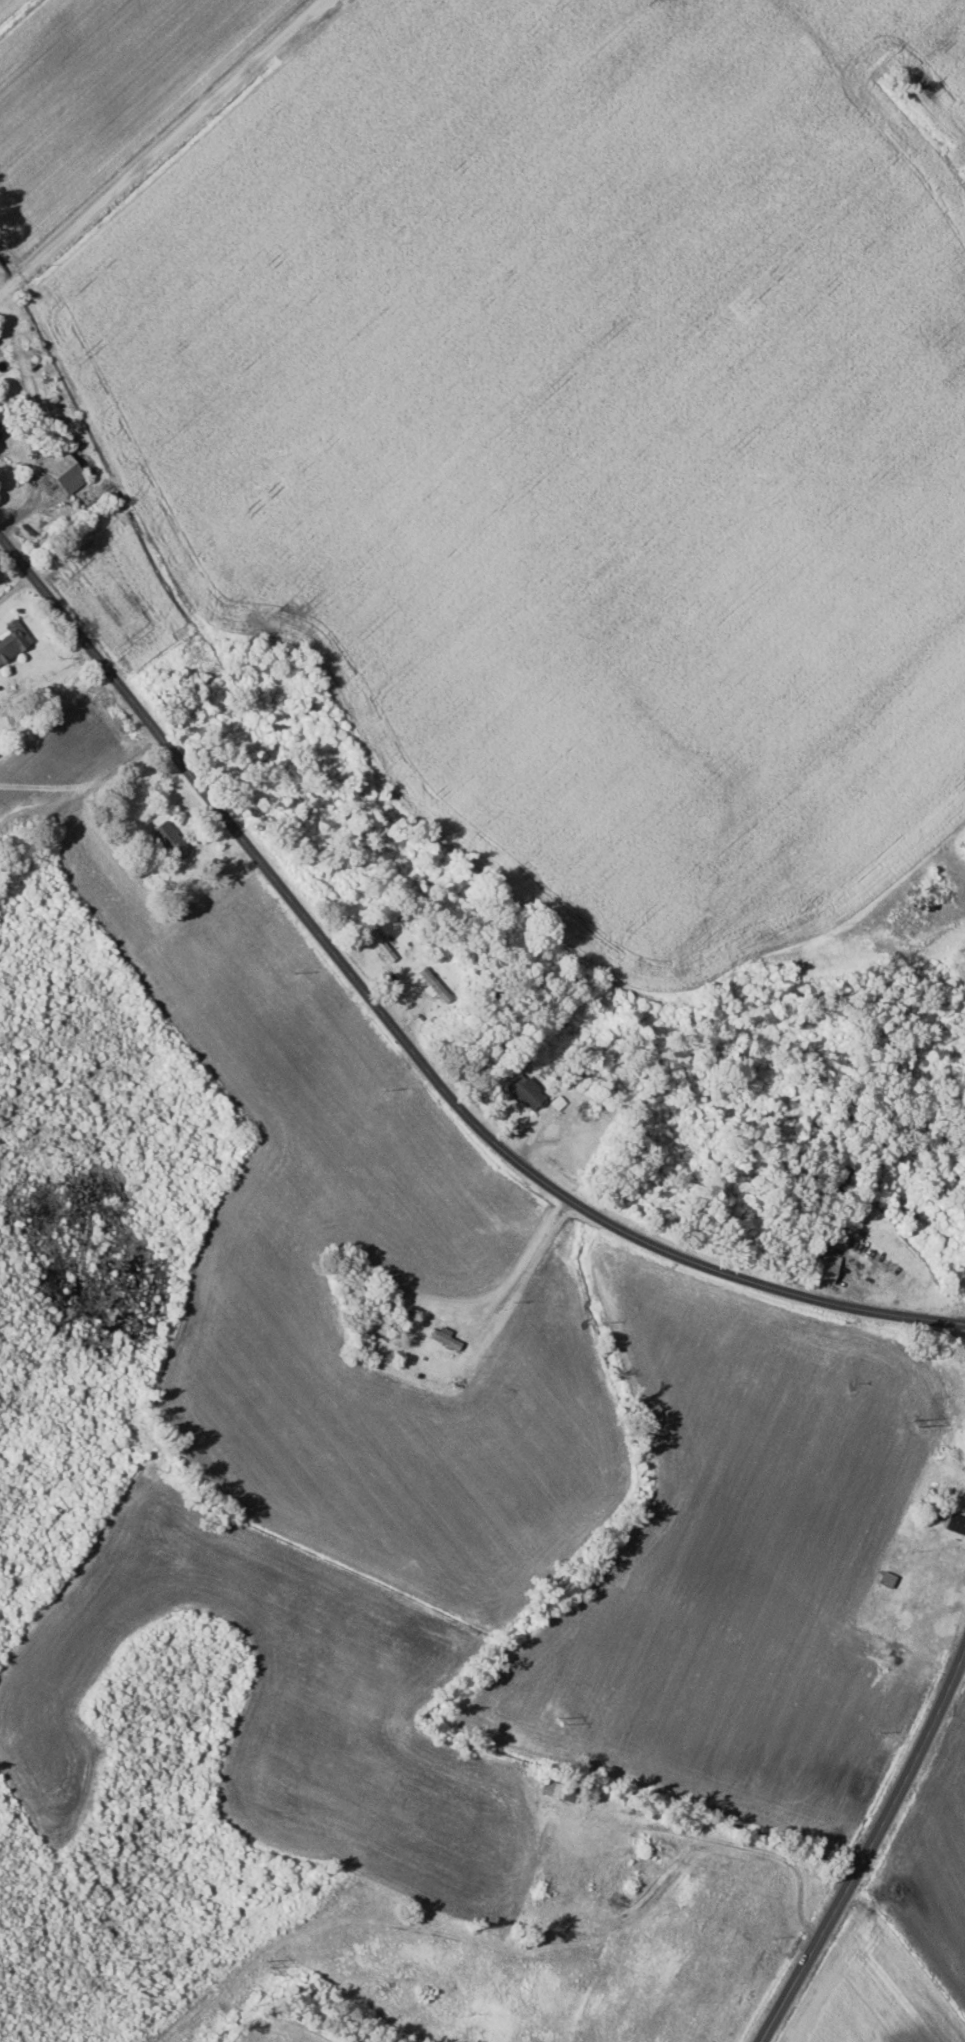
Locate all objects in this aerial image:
building: (56, 425)
building: (3, 427)
building: (62, 470)
building: (12, 640)
building: (169, 841)
building: (379, 943)
road: (404, 1040)
building: (525, 1091)
building: (823, 1267)
building: (445, 1336)
power tower: (921, 1421)
building: (955, 1523)
power tower: (565, 1716)
road: (861, 1849)
power tower: (271, 1961)

